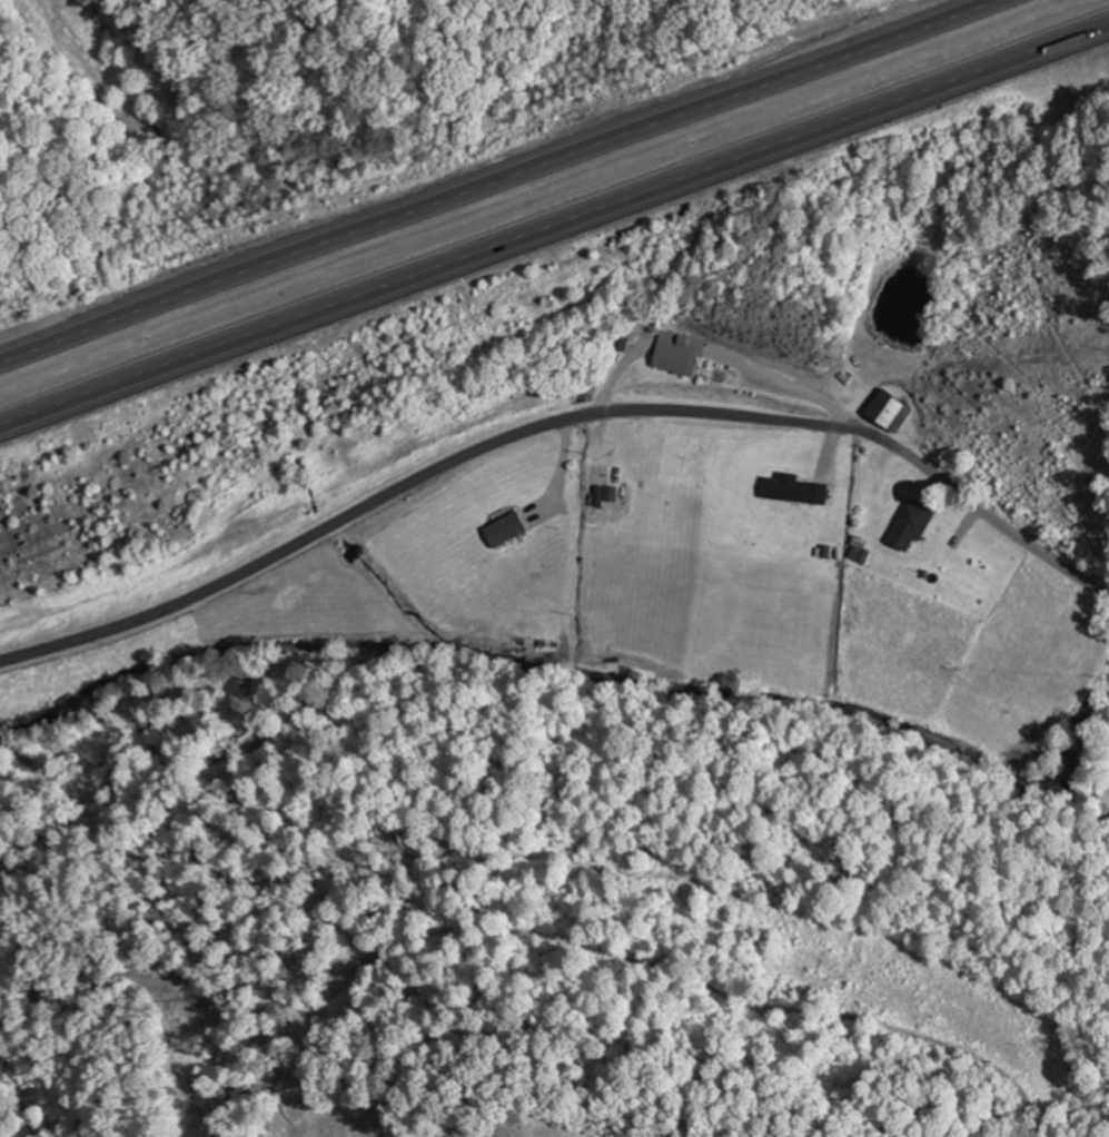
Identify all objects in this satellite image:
road: (495, 178)
road: (554, 229)
building: (676, 354)
building: (890, 408)
road: (555, 422)
building: (795, 487)
building: (911, 524)

